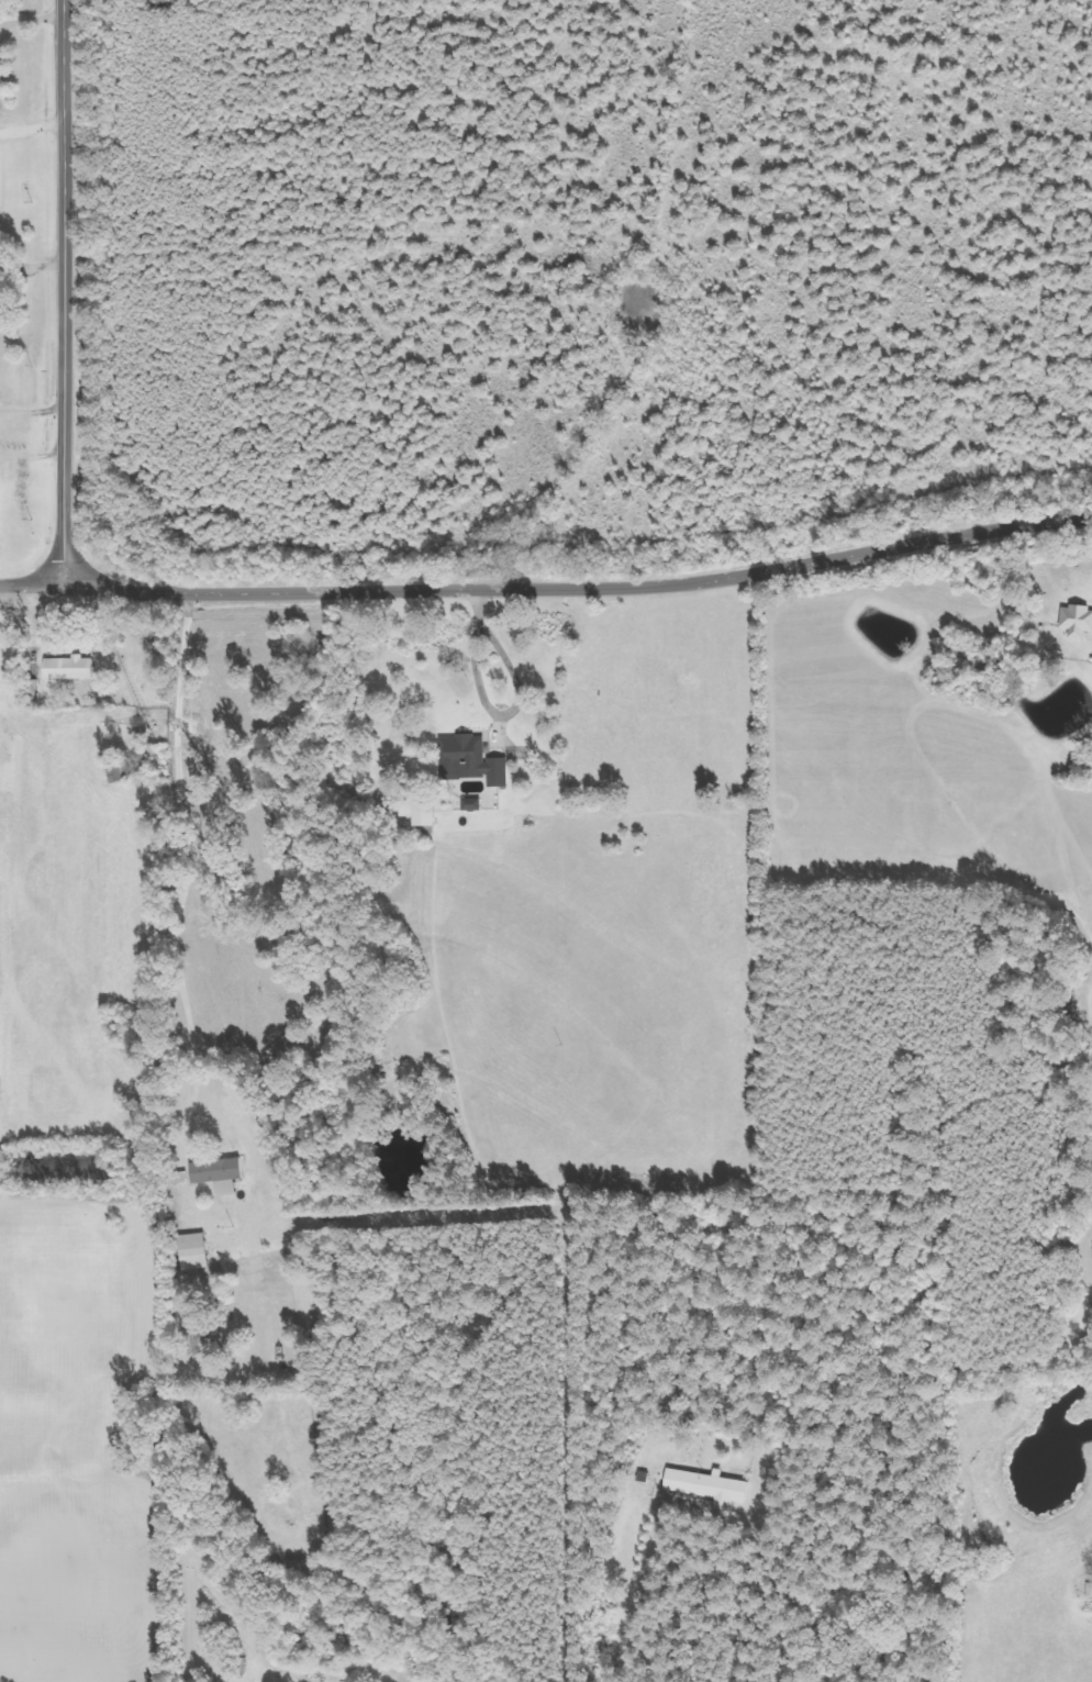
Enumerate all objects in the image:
building: (3, 76)
building: (0, 177)
road: (60, 292)
building: (0, 393)
road: (31, 586)
road: (579, 588)
building: (1080, 622)
building: (76, 668)
building: (476, 761)
building: (479, 804)
building: (426, 812)
building: (225, 1174)
building: (201, 1251)
building: (707, 1486)
building: (1091, 1591)

